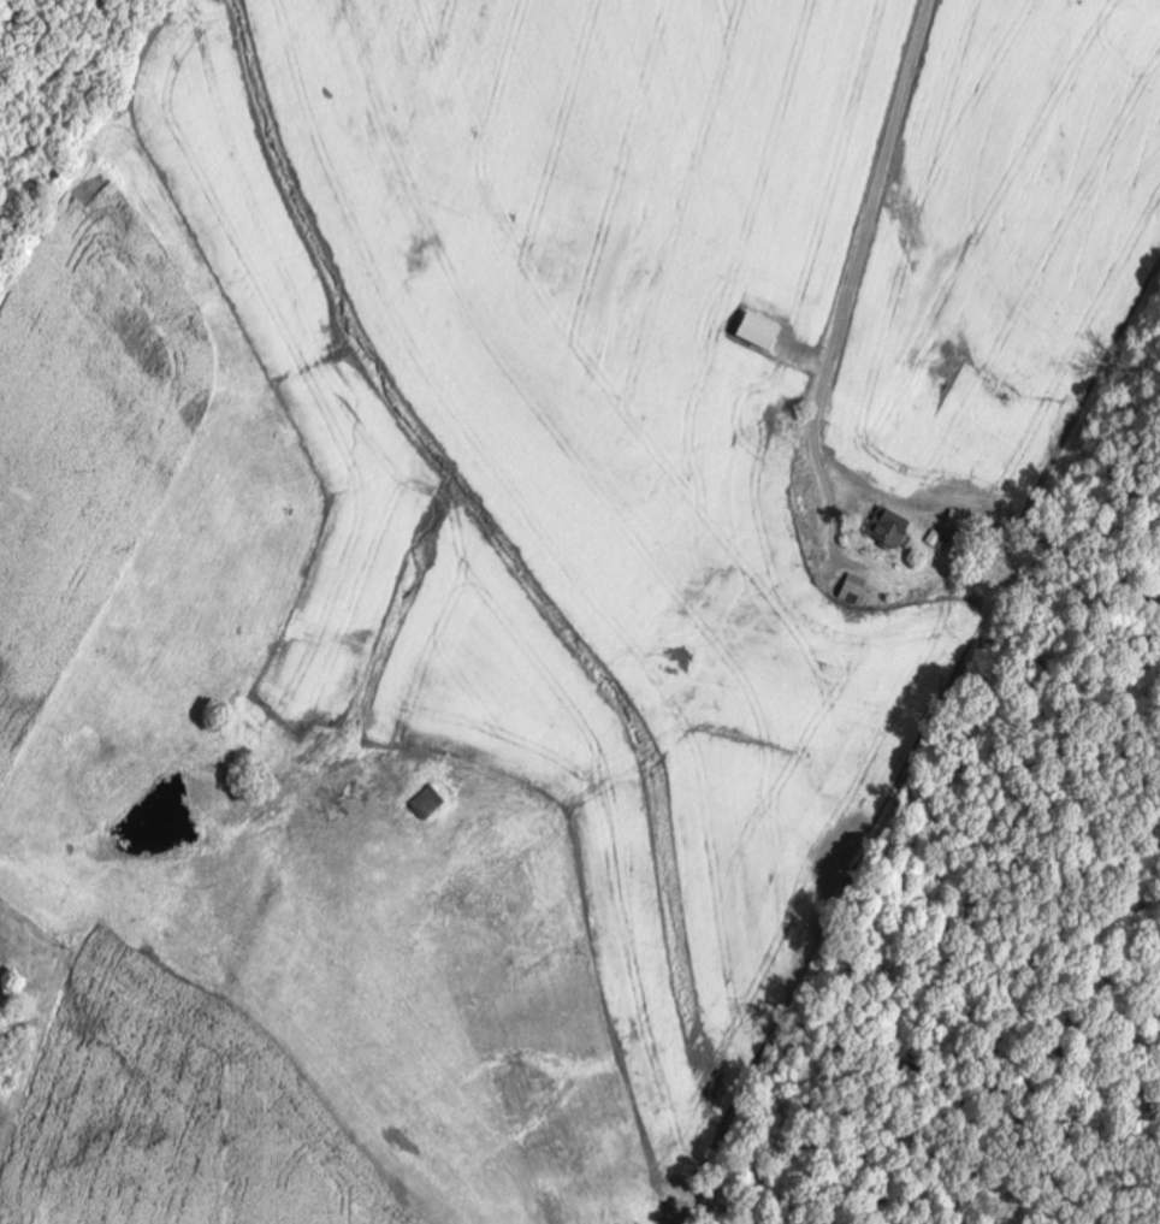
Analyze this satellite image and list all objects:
road: (853, 279)
building: (757, 333)
building: (888, 530)
building: (428, 802)

